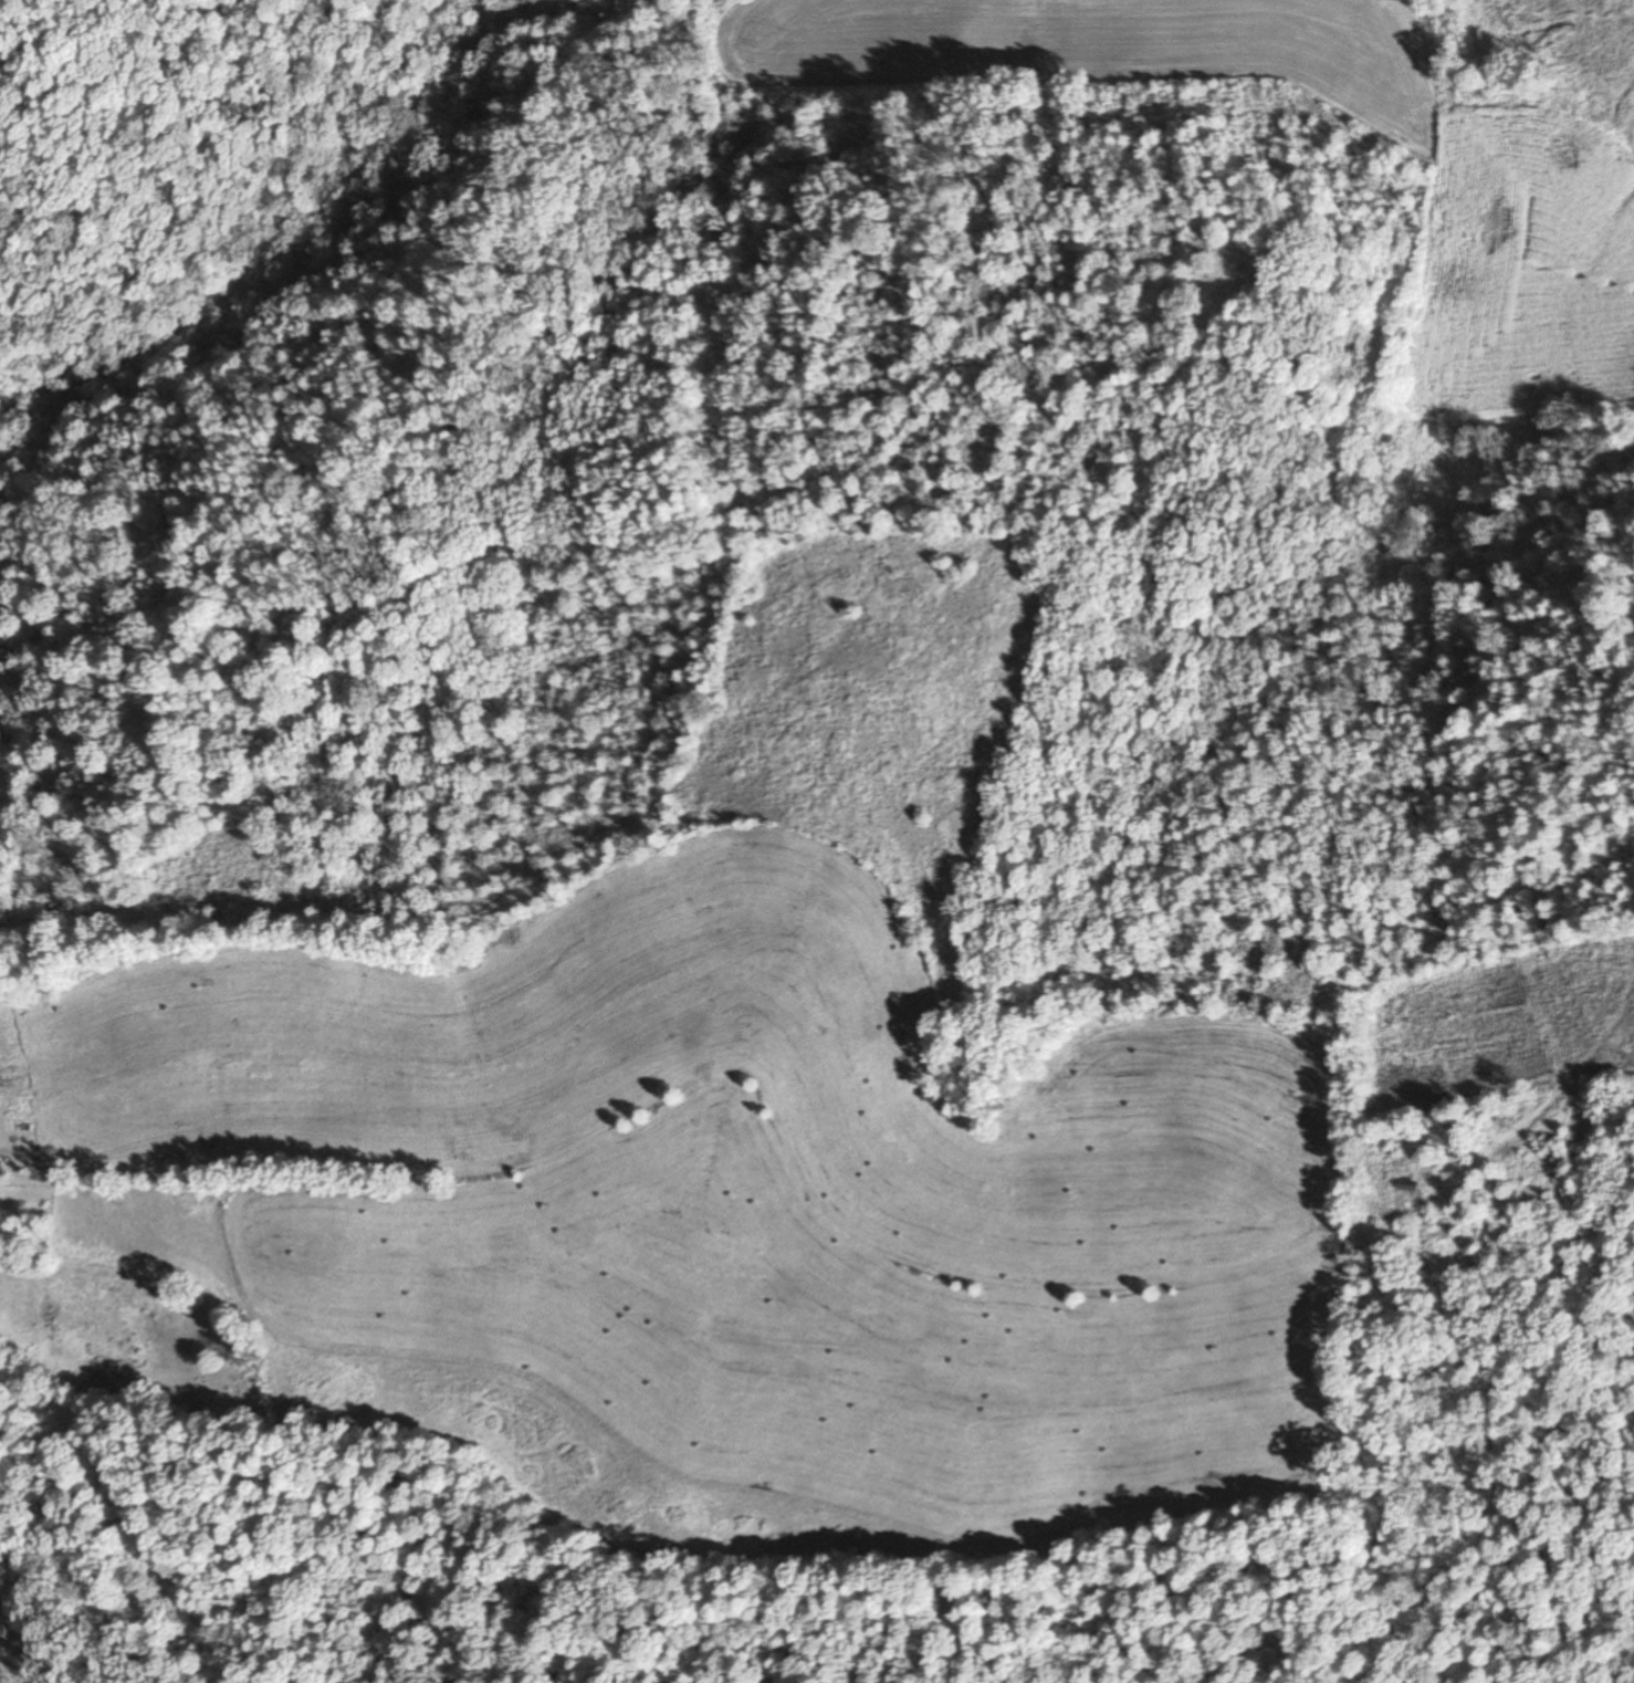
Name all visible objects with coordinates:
building: (1412, 1187)
road: (133, 1513)

